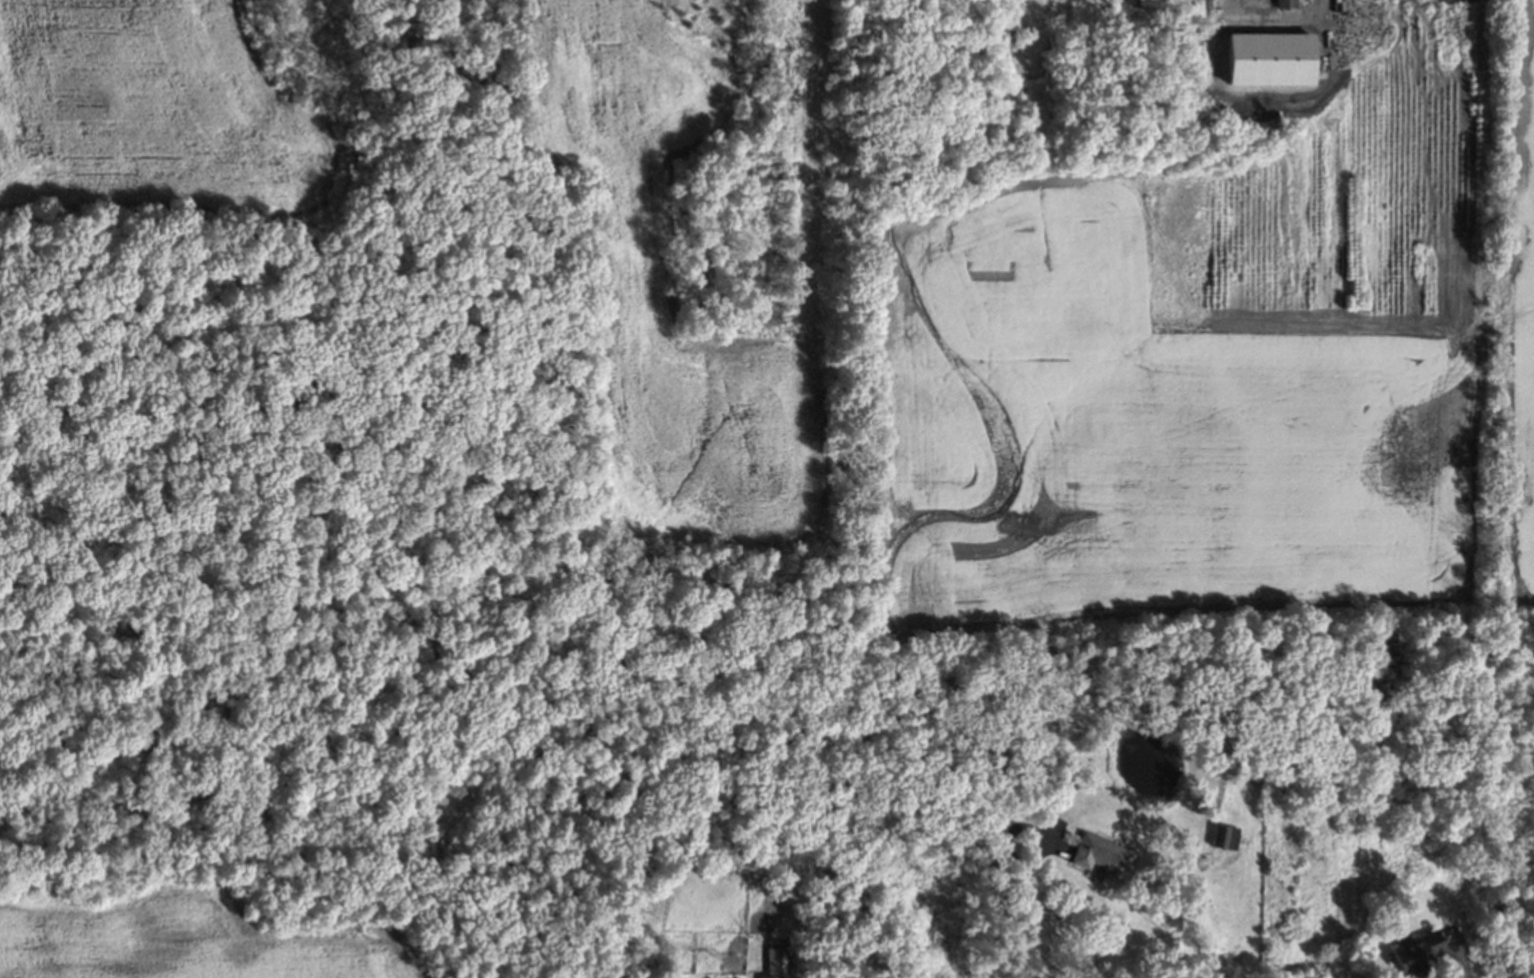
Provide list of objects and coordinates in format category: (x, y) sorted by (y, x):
building: (1286, 3)
road: (1289, 24)
crop: (159, 104)
crop: (669, 302)
crop: (1523, 318)
building: (1227, 837)
building: (1101, 857)
road: (1024, 884)
building: (1417, 954)
building: (776, 958)
road: (1463, 958)

